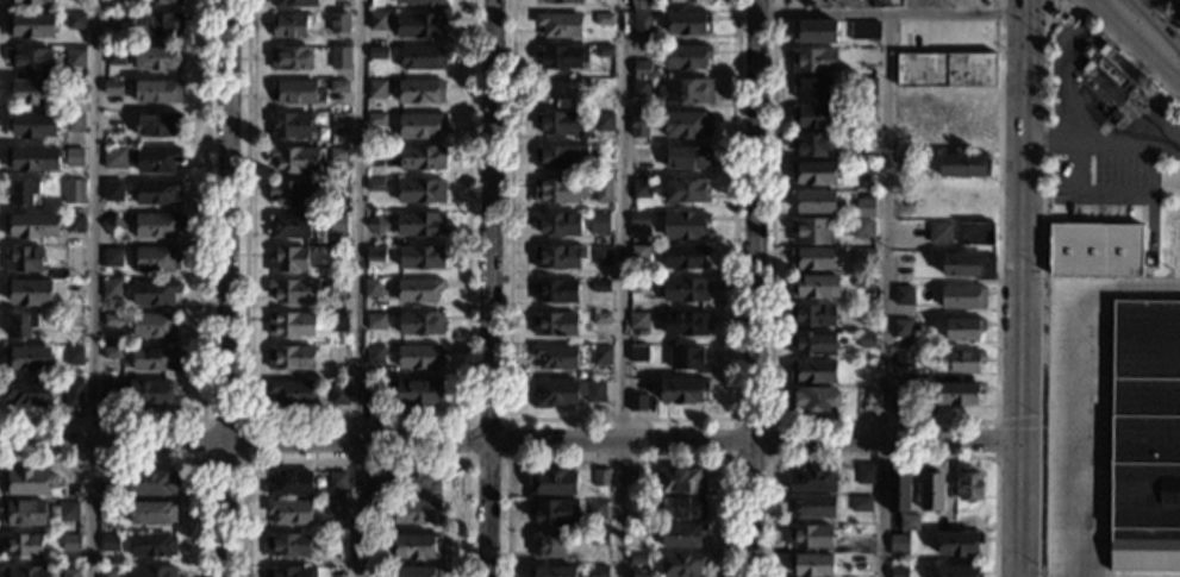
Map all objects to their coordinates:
building: (31, 1)
building: (158, 1)
building: (562, 1)
building: (689, 1)
building: (423, 2)
road: (1055, 2)
building: (293, 4)
road: (1145, 4)
building: (643, 5)
road: (922, 6)
road: (1024, 6)
road: (1031, 11)
road: (891, 12)
building: (1055, 13)
road: (1166, 14)
building: (604, 19)
building: (1178, 19)
building: (75, 21)
building: (377, 21)
building: (339, 23)
building: (688, 24)
road: (1157, 24)
building: (158, 25)
building: (560, 25)
building: (642, 25)
building: (30, 26)
building: (292, 26)
building: (420, 26)
building: (864, 31)
building: (813, 32)
building: (113, 42)
road: (1136, 43)
building: (1105, 50)
building: (604, 51)
building: (379, 54)
building: (114, 56)
building: (562, 57)
building: (686, 57)
road: (1115, 57)
building: (75, 58)
building: (158, 58)
building: (291, 58)
building: (341, 58)
building: (423, 58)
building: (866, 58)
building: (31, 61)
building: (814, 61)
building: (1104, 67)
building: (1088, 68)
building: (642, 69)
road: (1106, 86)
building: (338, 87)
building: (867, 87)
building: (944, 87)
building: (113, 88)
building: (641, 88)
building: (376, 89)
building: (812, 89)
building: (75, 90)
building: (558, 90)
building: (33, 92)
building: (293, 92)
building: (420, 92)
building: (686, 92)
building: (157, 93)
road: (1059, 104)
building: (867, 112)
building: (813, 117)
building: (376, 119)
building: (74, 123)
building: (603, 123)
building: (561, 124)
building: (33, 125)
building: (157, 125)
building: (638, 125)
building: (686, 125)
building: (420, 126)
building: (292, 127)
building: (906, 131)
building: (974, 133)
road: (1151, 139)
building: (864, 140)
road: (1100, 144)
building: (811, 145)
building: (603, 152)
building: (339, 153)
building: (75, 157)
building: (560, 157)
building: (114, 158)
building: (422, 158)
building: (687, 158)
building: (32, 159)
building: (155, 159)
building: (294, 159)
building: (963, 167)
building: (814, 173)
building: (635, 174)
building: (375, 186)
building: (338, 187)
building: (642, 189)
building: (113, 190)
building: (560, 190)
building: (604, 190)
building: (74, 192)
building: (420, 192)
building: (687, 192)
building: (23, 193)
building: (158, 193)
building: (293, 193)
building: (813, 201)
road: (1043, 207)
building: (864, 209)
building: (843, 215)
road: (227, 220)
road: (488, 220)
building: (639, 220)
building: (337, 222)
building: (74, 224)
building: (419, 224)
building: (558, 224)
building: (599, 224)
building: (112, 225)
building: (377, 225)
building: (685, 225)
building: (31, 226)
building: (157, 226)
building: (289, 226)
building: (862, 228)
building: (810, 231)
building: (939, 233)
building: (976, 233)
building: (1095, 250)
building: (375, 253)
building: (864, 253)
building: (639, 255)
building: (601, 256)
building: (420, 257)
building: (558, 257)
building: (683, 257)
building: (112, 258)
building: (156, 258)
building: (812, 258)
building: (24, 261)
building: (288, 261)
building: (968, 265)
building: (863, 283)
building: (638, 286)
building: (601, 287)
building: (813, 287)
road: (94, 288)
road: (354, 288)
building: (372, 288)
road: (619, 288)
road: (753, 288)
building: (111, 289)
building: (333, 289)
building: (292, 290)
building: (418, 290)
building: (682, 290)
building: (75, 291)
building: (556, 291)
building: (30, 293)
building: (154, 293)
road: (882, 294)
road: (1016, 294)
building: (903, 296)
building: (963, 297)
road: (202, 309)
building: (864, 313)
building: (812, 315)
building: (601, 319)
building: (74, 320)
building: (111, 320)
building: (376, 321)
building: (638, 321)
building: (338, 322)
building: (422, 324)
building: (555, 324)
building: (291, 325)
building: (686, 325)
building: (21, 326)
building: (155, 327)
building: (901, 328)
building: (963, 328)
building: (866, 340)
building: (812, 344)
building: (112, 353)
building: (638, 353)
building: (375, 356)
building: (601, 356)
building: (74, 357)
building: (291, 357)
building: (419, 357)
building: (555, 357)
building: (27, 358)
building: (155, 359)
building: (687, 359)
building: (904, 359)
building: (966, 362)
building: (813, 372)
road: (1080, 381)
building: (292, 391)
building: (682, 391)
building: (417, 393)
building: (567, 393)
building: (27, 394)
building: (74, 394)
building: (108, 394)
building: (956, 394)
building: (148, 395)
building: (338, 395)
building: (372, 395)
building: (814, 400)
building: (898, 402)
building: (637, 403)
road: (620, 419)
road: (352, 420)
road: (881, 420)
road: (1018, 420)
road: (200, 421)
road: (733, 421)
building: (1144, 437)
road: (995, 438)
road: (112, 441)
road: (356, 441)
road: (749, 441)
road: (881, 457)
road: (466, 459)
road: (157, 460)
road: (354, 460)
road: (620, 460)
building: (864, 473)
building: (601, 477)
building: (631, 478)
building: (812, 479)
building: (337, 481)
building: (416, 481)
building: (29, 482)
building: (681, 482)
building: (151, 483)
building: (291, 483)
building: (554, 483)
building: (969, 484)
building: (375, 485)
building: (107, 489)
building: (931, 490)
building: (898, 491)
building: (861, 503)
building: (813, 506)
building: (682, 507)
road: (224, 509)
building: (336, 509)
road: (486, 509)
building: (107, 510)
building: (372, 510)
building: (416, 510)
building: (597, 510)
building: (68, 512)
building: (24, 513)
building: (151, 513)
building: (289, 513)
building: (556, 513)
building: (909, 522)
building: (682, 535)
building: (811, 537)
building: (598, 539)
building: (70, 542)
building: (108, 542)
building: (898, 542)
building: (372, 544)
building: (959, 544)
building: (21, 545)
building: (288, 545)
building: (151, 546)
building: (549, 546)
building: (418, 547)
building: (638, 560)
building: (681, 565)
building: (812, 565)
building: (106, 571)
building: (383, 571)
building: (552, 571)
building: (598, 571)
building: (899, 571)
building: (959, 571)
building: (26, 572)
building: (69, 572)
building: (152, 572)
building: (291, 572)
building: (417, 572)

